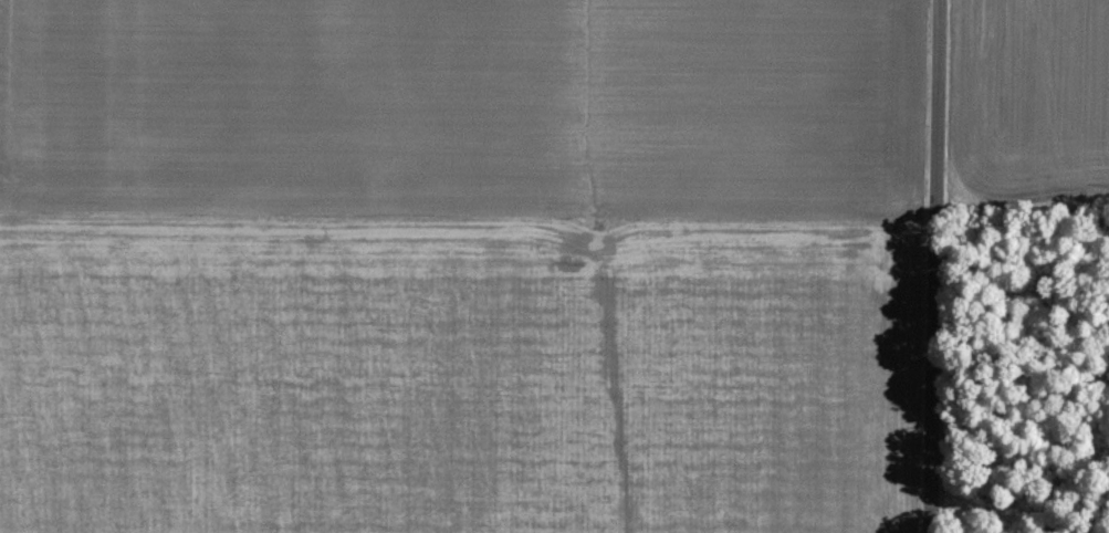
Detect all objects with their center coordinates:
road: (933, 265)

